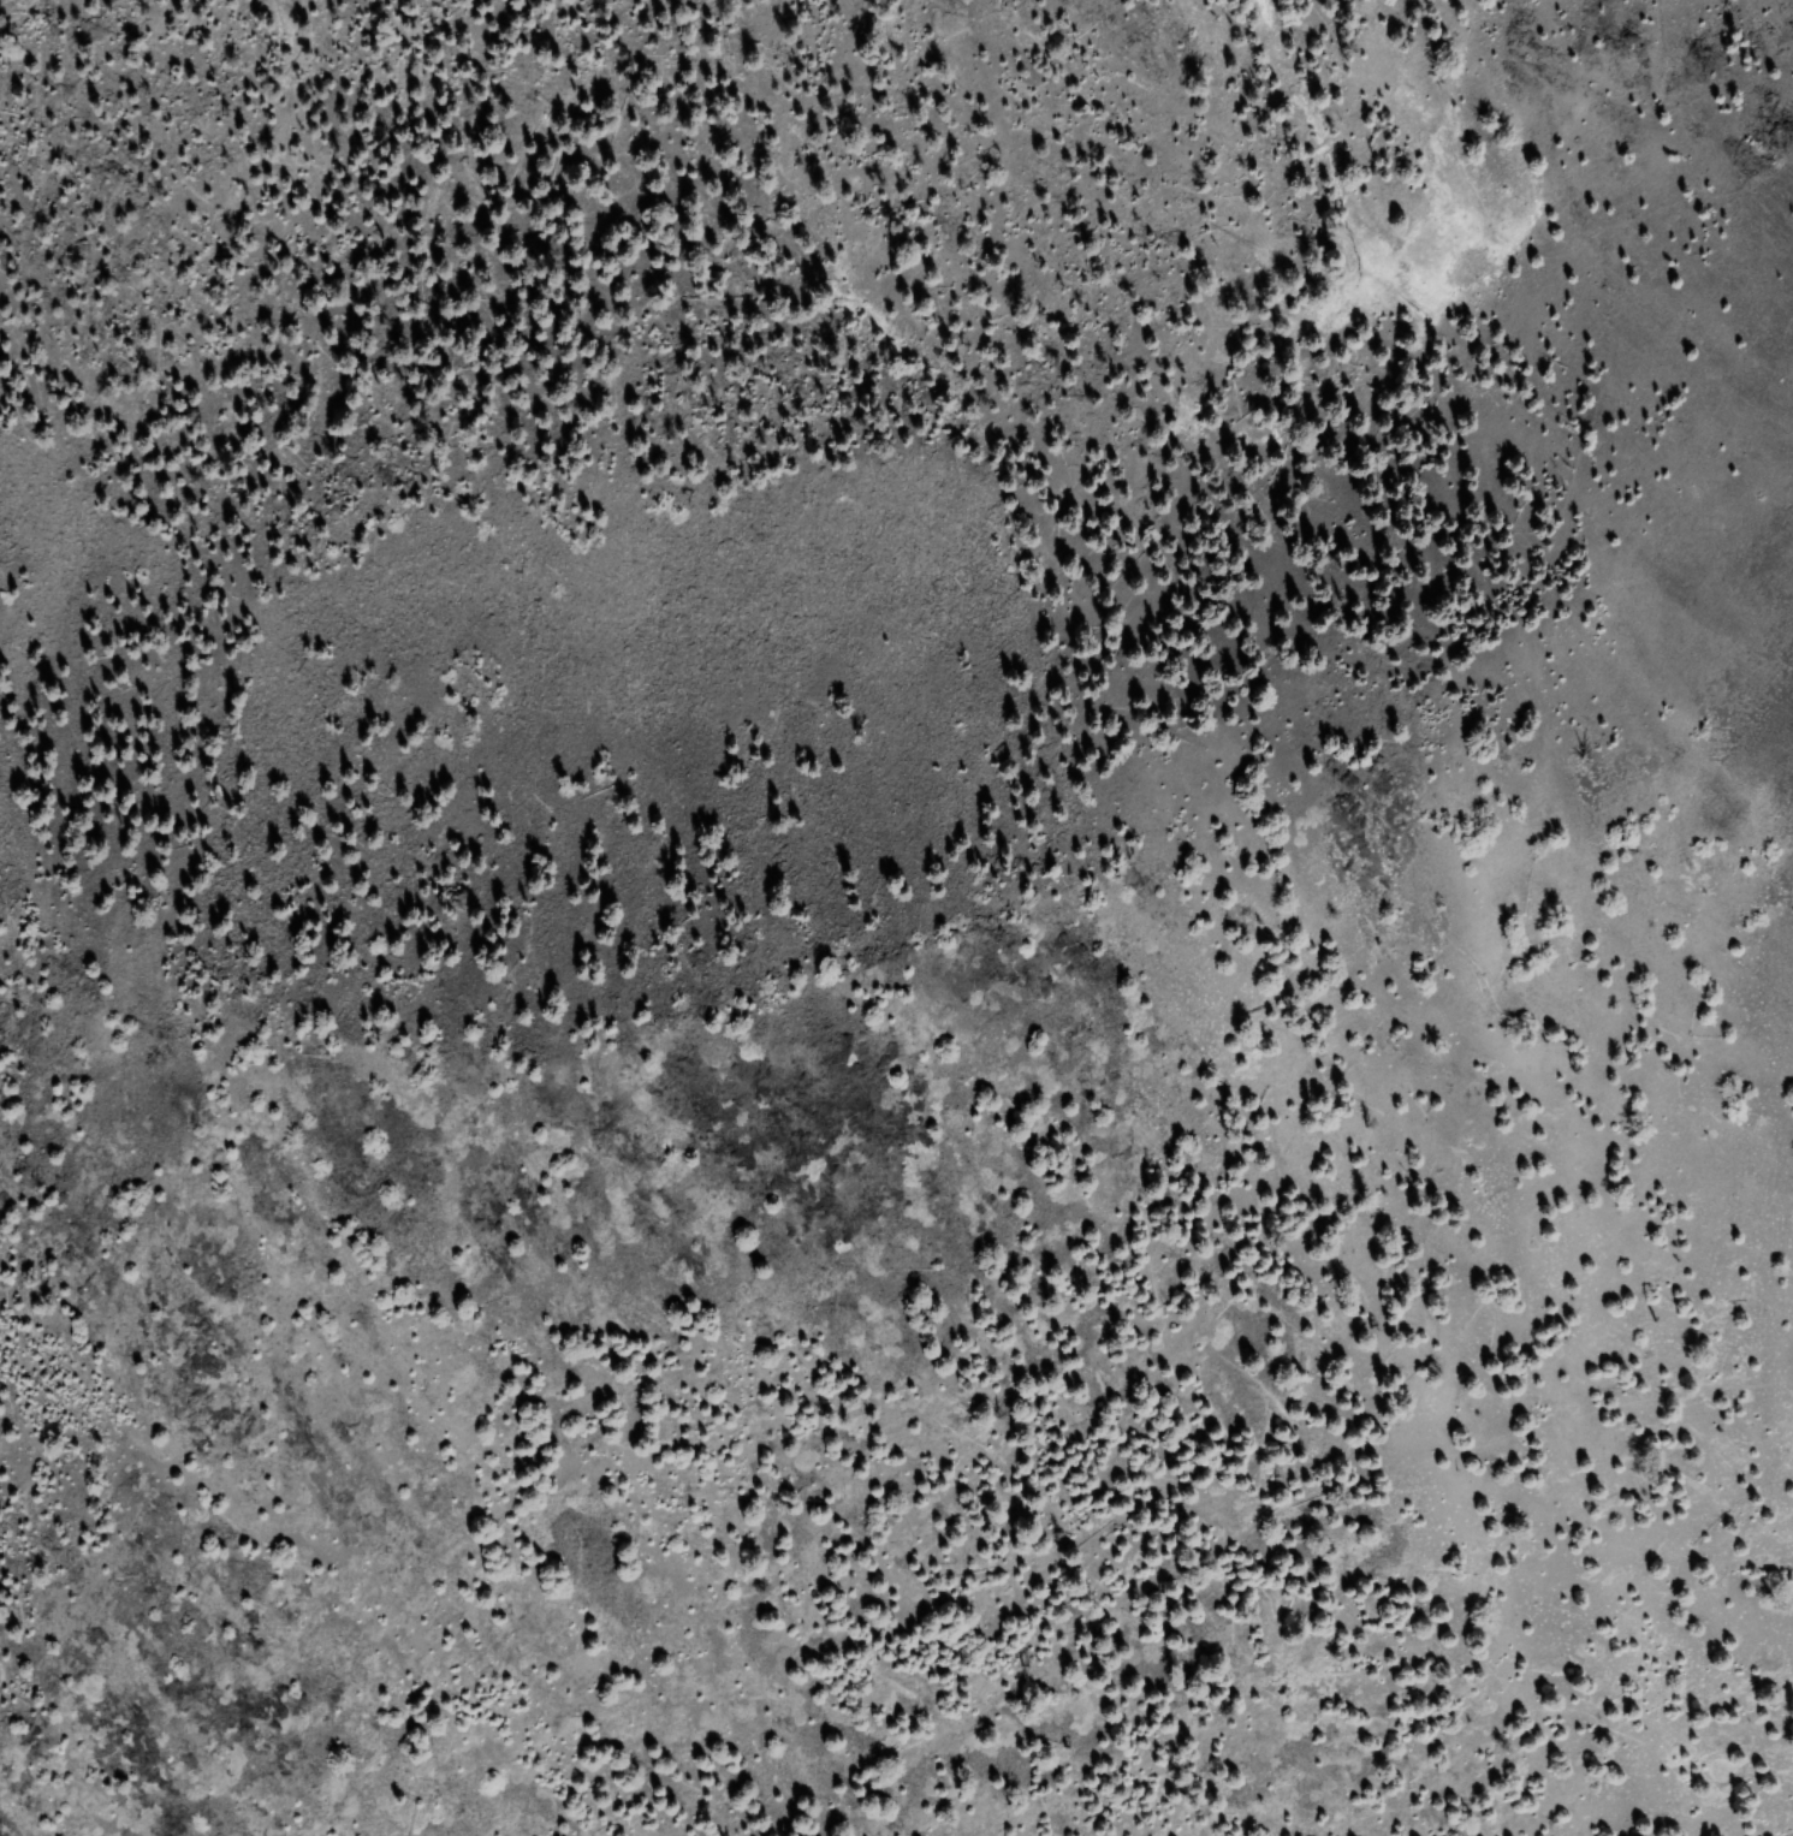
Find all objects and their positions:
road: (1577, 1409)
road: (1043, 1659)

